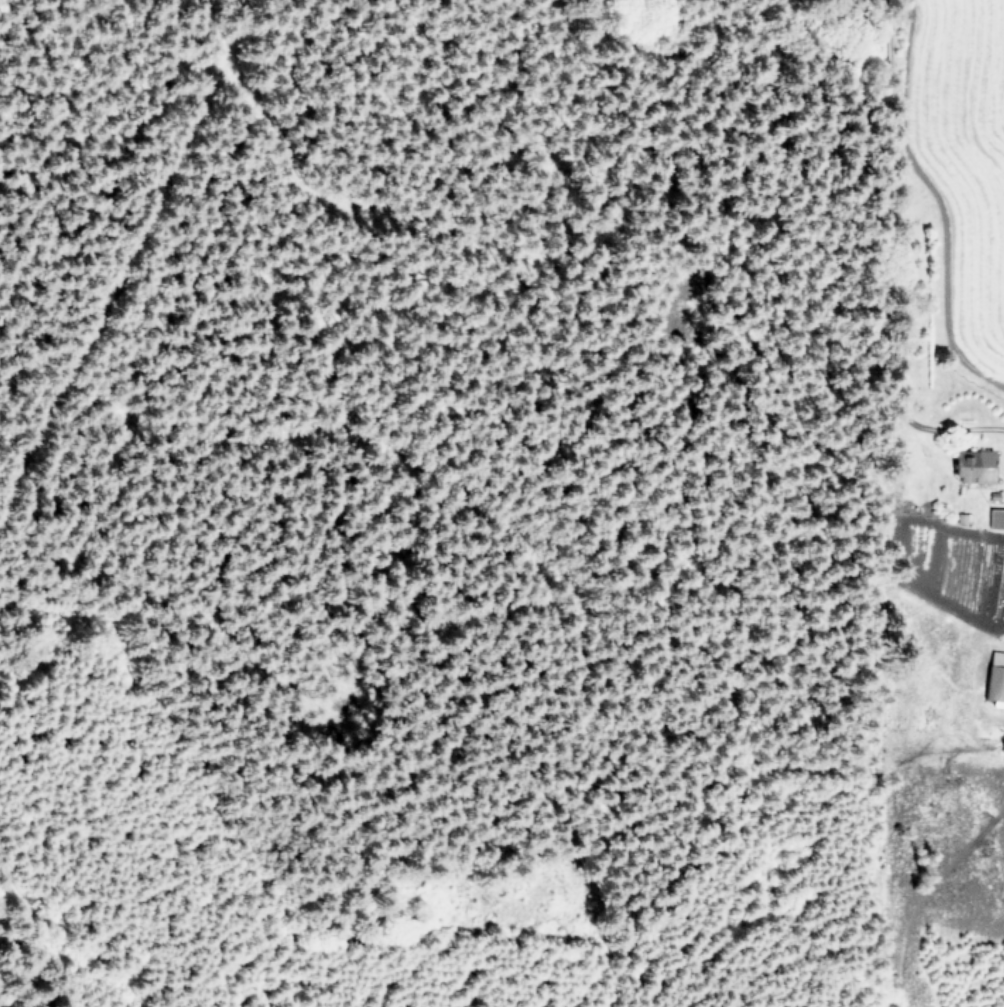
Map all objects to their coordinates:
road: (890, 262)
crop: (939, 335)
building: (996, 517)
building: (995, 682)

